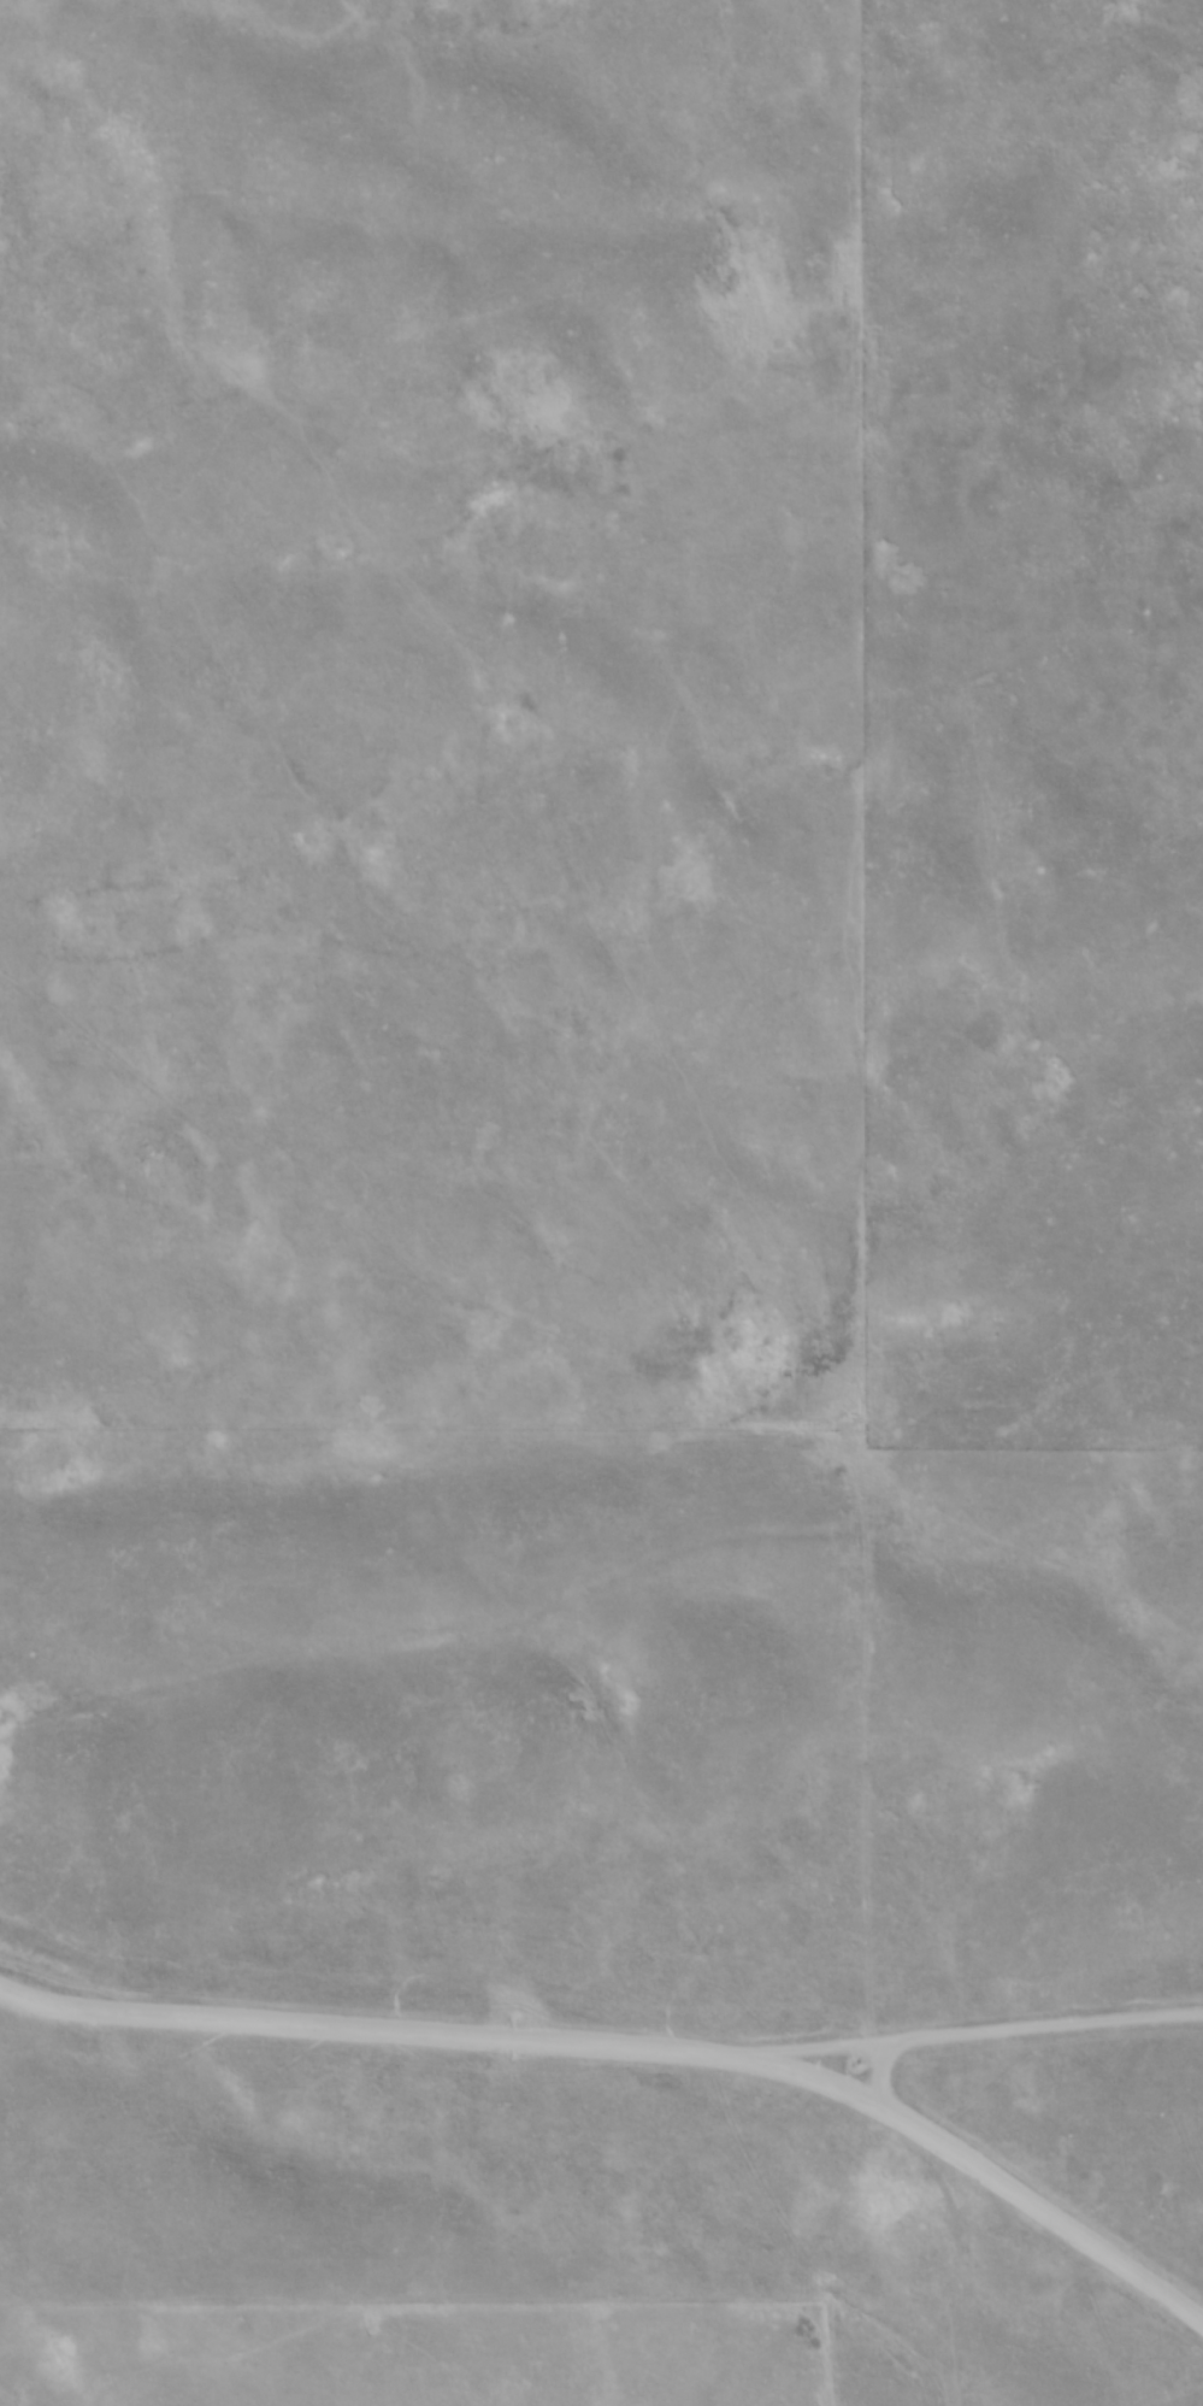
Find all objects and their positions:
road: (597, 2051)
road: (987, 2182)

